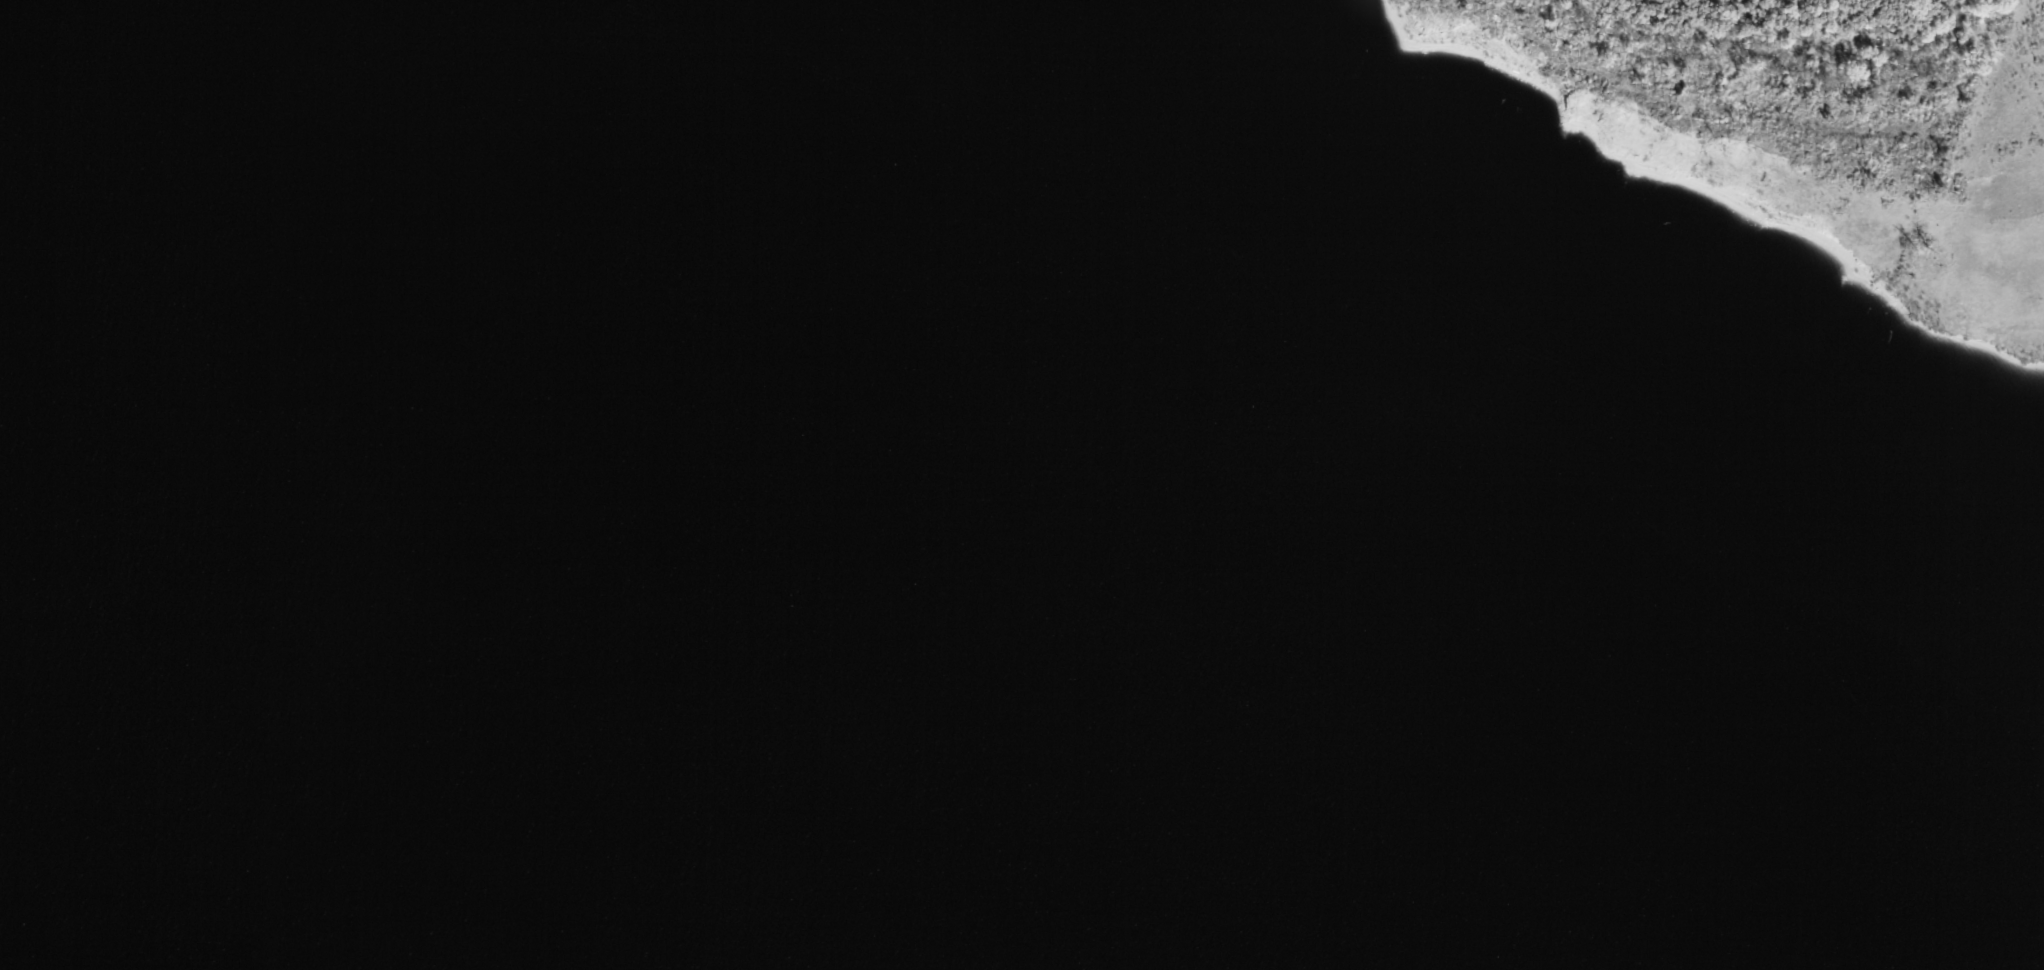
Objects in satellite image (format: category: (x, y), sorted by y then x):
river: (45, 929)

